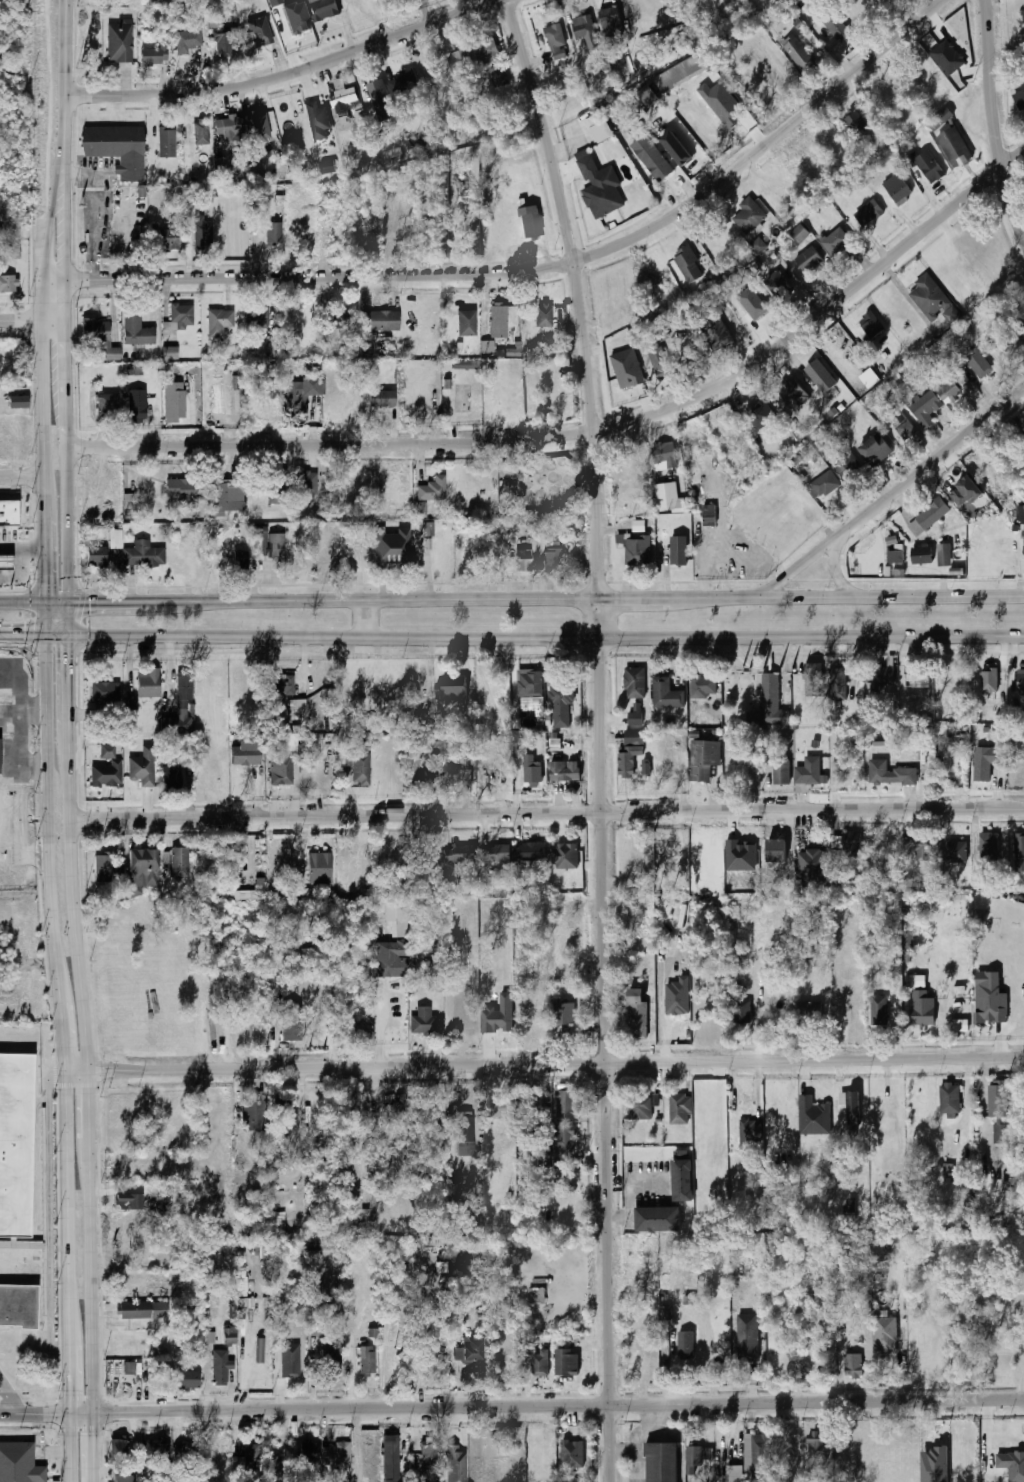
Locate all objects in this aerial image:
building: (274, 2)
building: (322, 9)
building: (213, 17)
building: (296, 18)
building: (610, 22)
building: (583, 28)
building: (836, 28)
building: (258, 32)
building: (187, 41)
building: (556, 41)
building: (118, 43)
building: (222, 43)
building: (486, 49)
building: (797, 52)
building: (152, 56)
building: (948, 57)
building: (459, 60)
building: (605, 64)
building: (681, 73)
road: (66, 75)
building: (498, 76)
road: (289, 77)
building: (405, 83)
building: (1023, 84)
building: (375, 96)
building: (1019, 98)
building: (342, 102)
building: (942, 116)
road: (996, 119)
building: (316, 120)
building: (854, 121)
building: (257, 122)
building: (600, 127)
building: (227, 130)
building: (200, 132)
building: (165, 142)
building: (954, 147)
building: (115, 148)
building: (423, 149)
building: (651, 158)
building: (220, 166)
building: (928, 166)
building: (327, 167)
building: (778, 183)
road: (59, 184)
road: (65, 184)
building: (594, 184)
building: (897, 188)
building: (868, 213)
building: (748, 216)
building: (530, 222)
building: (200, 231)
building: (273, 232)
building: (799, 234)
building: (162, 239)
building: (835, 241)
building: (757, 244)
building: (14, 252)
building: (809, 259)
building: (1, 262)
building: (688, 265)
road: (547, 266)
road: (64, 269)
building: (774, 281)
building: (8, 284)
building: (929, 296)
building: (752, 312)
building: (542, 315)
building: (179, 316)
building: (255, 319)
building: (379, 320)
road: (32, 321)
building: (498, 321)
building: (218, 322)
building: (465, 322)
building: (869, 324)
building: (1020, 330)
building: (135, 331)
building: (718, 335)
building: (98, 337)
road: (43, 346)
building: (486, 346)
building: (170, 353)
building: (659, 360)
building: (978, 363)
building: (464, 364)
building: (628, 368)
building: (821, 376)
road: (66, 384)
building: (951, 388)
building: (792, 393)
building: (304, 394)
building: (380, 398)
building: (17, 402)
building: (174, 402)
building: (135, 404)
building: (106, 405)
building: (256, 406)
building: (924, 409)
building: (759, 414)
building: (899, 423)
road: (589, 429)
building: (906, 430)
building: (804, 431)
building: (875, 451)
building: (666, 454)
road: (931, 462)
building: (848, 466)
road: (21, 475)
building: (824, 484)
building: (303, 486)
building: (275, 487)
building: (431, 489)
building: (185, 492)
building: (966, 492)
building: (670, 498)
building: (224, 500)
building: (128, 501)
building: (422, 509)
building: (9, 513)
building: (710, 514)
building: (1020, 514)
building: (927, 517)
road: (69, 525)
building: (639, 526)
building: (428, 528)
parking lot: (9, 536)
building: (114, 539)
building: (892, 540)
building: (273, 545)
building: (391, 547)
road: (22, 548)
building: (636, 551)
building: (678, 551)
building: (944, 551)
building: (897, 554)
building: (922, 554)
road: (44, 555)
building: (142, 555)
building: (95, 557)
building: (239, 560)
building: (523, 560)
building: (552, 560)
building: (6, 562)
gas station: (6, 562)
road: (799, 566)
building: (721, 568)
road: (836, 570)
road: (23, 574)
traffic signals: (45, 585)
road: (603, 598)
road: (114, 601)
road: (22, 602)
traffic signals: (91, 602)
road: (366, 619)
traffic signals: (25, 636)
road: (35, 636)
road: (546, 638)
traffic signals: (70, 658)
road: (69, 670)
building: (878, 677)
building: (914, 677)
building: (812, 680)
building: (1020, 681)
building: (837, 682)
building: (988, 682)
building: (147, 683)
building: (634, 683)
building: (281, 685)
building: (530, 685)
building: (703, 687)
building: (451, 688)
building: (183, 692)
building: (103, 693)
building: (664, 693)
building: (560, 701)
building: (131, 703)
building: (768, 705)
building: (295, 709)
building: (635, 718)
road: (595, 736)
building: (633, 738)
building: (882, 741)
building: (245, 756)
building: (627, 759)
building: (703, 759)
building: (674, 760)
building: (984, 763)
building: (646, 766)
building: (141, 767)
building: (355, 767)
building: (415, 767)
building: (105, 768)
building: (742, 770)
building: (281, 772)
building: (564, 772)
building: (781, 772)
building: (807, 772)
building: (532, 773)
building: (889, 774)
building: (171, 775)
building: (453, 775)
building: (172, 787)
road: (546, 813)
building: (847, 845)
building: (876, 846)
building: (988, 847)
building: (771, 848)
building: (923, 848)
building: (527, 850)
building: (957, 852)
building: (458, 853)
building: (497, 853)
building: (1019, 853)
building: (564, 856)
building: (741, 856)
building: (427, 858)
building: (142, 862)
building: (178, 862)
building: (812, 867)
building: (319, 868)
building: (101, 869)
building: (133, 889)
building: (251, 891)
building: (730, 917)
building: (398, 928)
building: (908, 941)
building: (421, 943)
building: (307, 953)
building: (735, 958)
building: (391, 959)
building: (918, 981)
building: (991, 1004)
building: (804, 1010)
building: (877, 1010)
building: (741, 1011)
building: (562, 1013)
building: (923, 1013)
building: (636, 1014)
building: (499, 1016)
building: (421, 1020)
building: (290, 1024)
building: (961, 1025)
road: (71, 1058)
road: (548, 1065)
building: (950, 1100)
building: (996, 1101)
building: (566, 1105)
building: (499, 1108)
building: (639, 1108)
road: (92, 1109)
building: (679, 1109)
building: (852, 1109)
building: (398, 1110)
building: (283, 1113)
building: (252, 1116)
building: (813, 1117)
building: (463, 1128)
building: (751, 1132)
building: (1000, 1134)
building: (15, 1144)
building: (563, 1146)
building: (681, 1180)
building: (357, 1197)
building: (129, 1201)
building: (849, 1209)
road: (48, 1215)
building: (657, 1220)
building: (278, 1223)
building: (644, 1274)
building: (139, 1283)
building: (189, 1294)
building: (536, 1296)
building: (18, 1305)
building: (142, 1310)
building: (666, 1313)
building: (886, 1334)
building: (229, 1335)
building: (208, 1337)
building: (747, 1338)
building: (685, 1344)
building: (467, 1351)
building: (364, 1360)
building: (330, 1362)
building: (539, 1362)
building: (566, 1363)
building: (640, 1364)
building: (220, 1367)
building: (852, 1367)
building: (129, 1368)
building: (782, 1368)
building: (293, 1371)
building: (184, 1380)
road: (5, 1397)
road: (189, 1402)
road: (511, 1407)
road: (103, 1413)
building: (428, 1446)
building: (116, 1448)
building: (989, 1449)
building: (307, 1451)
building: (158, 1452)
building: (184, 1452)
building: (389, 1452)
building: (334, 1454)
building: (572, 1454)
building: (250, 1455)
road: (104, 1456)
building: (750, 1457)
building: (693, 1461)
building: (661, 1462)
building: (19, 1463)
building: (272, 1464)
building: (455, 1464)
building: (1012, 1465)
building: (124, 1479)
building: (171, 1480)
building: (389, 1480)

